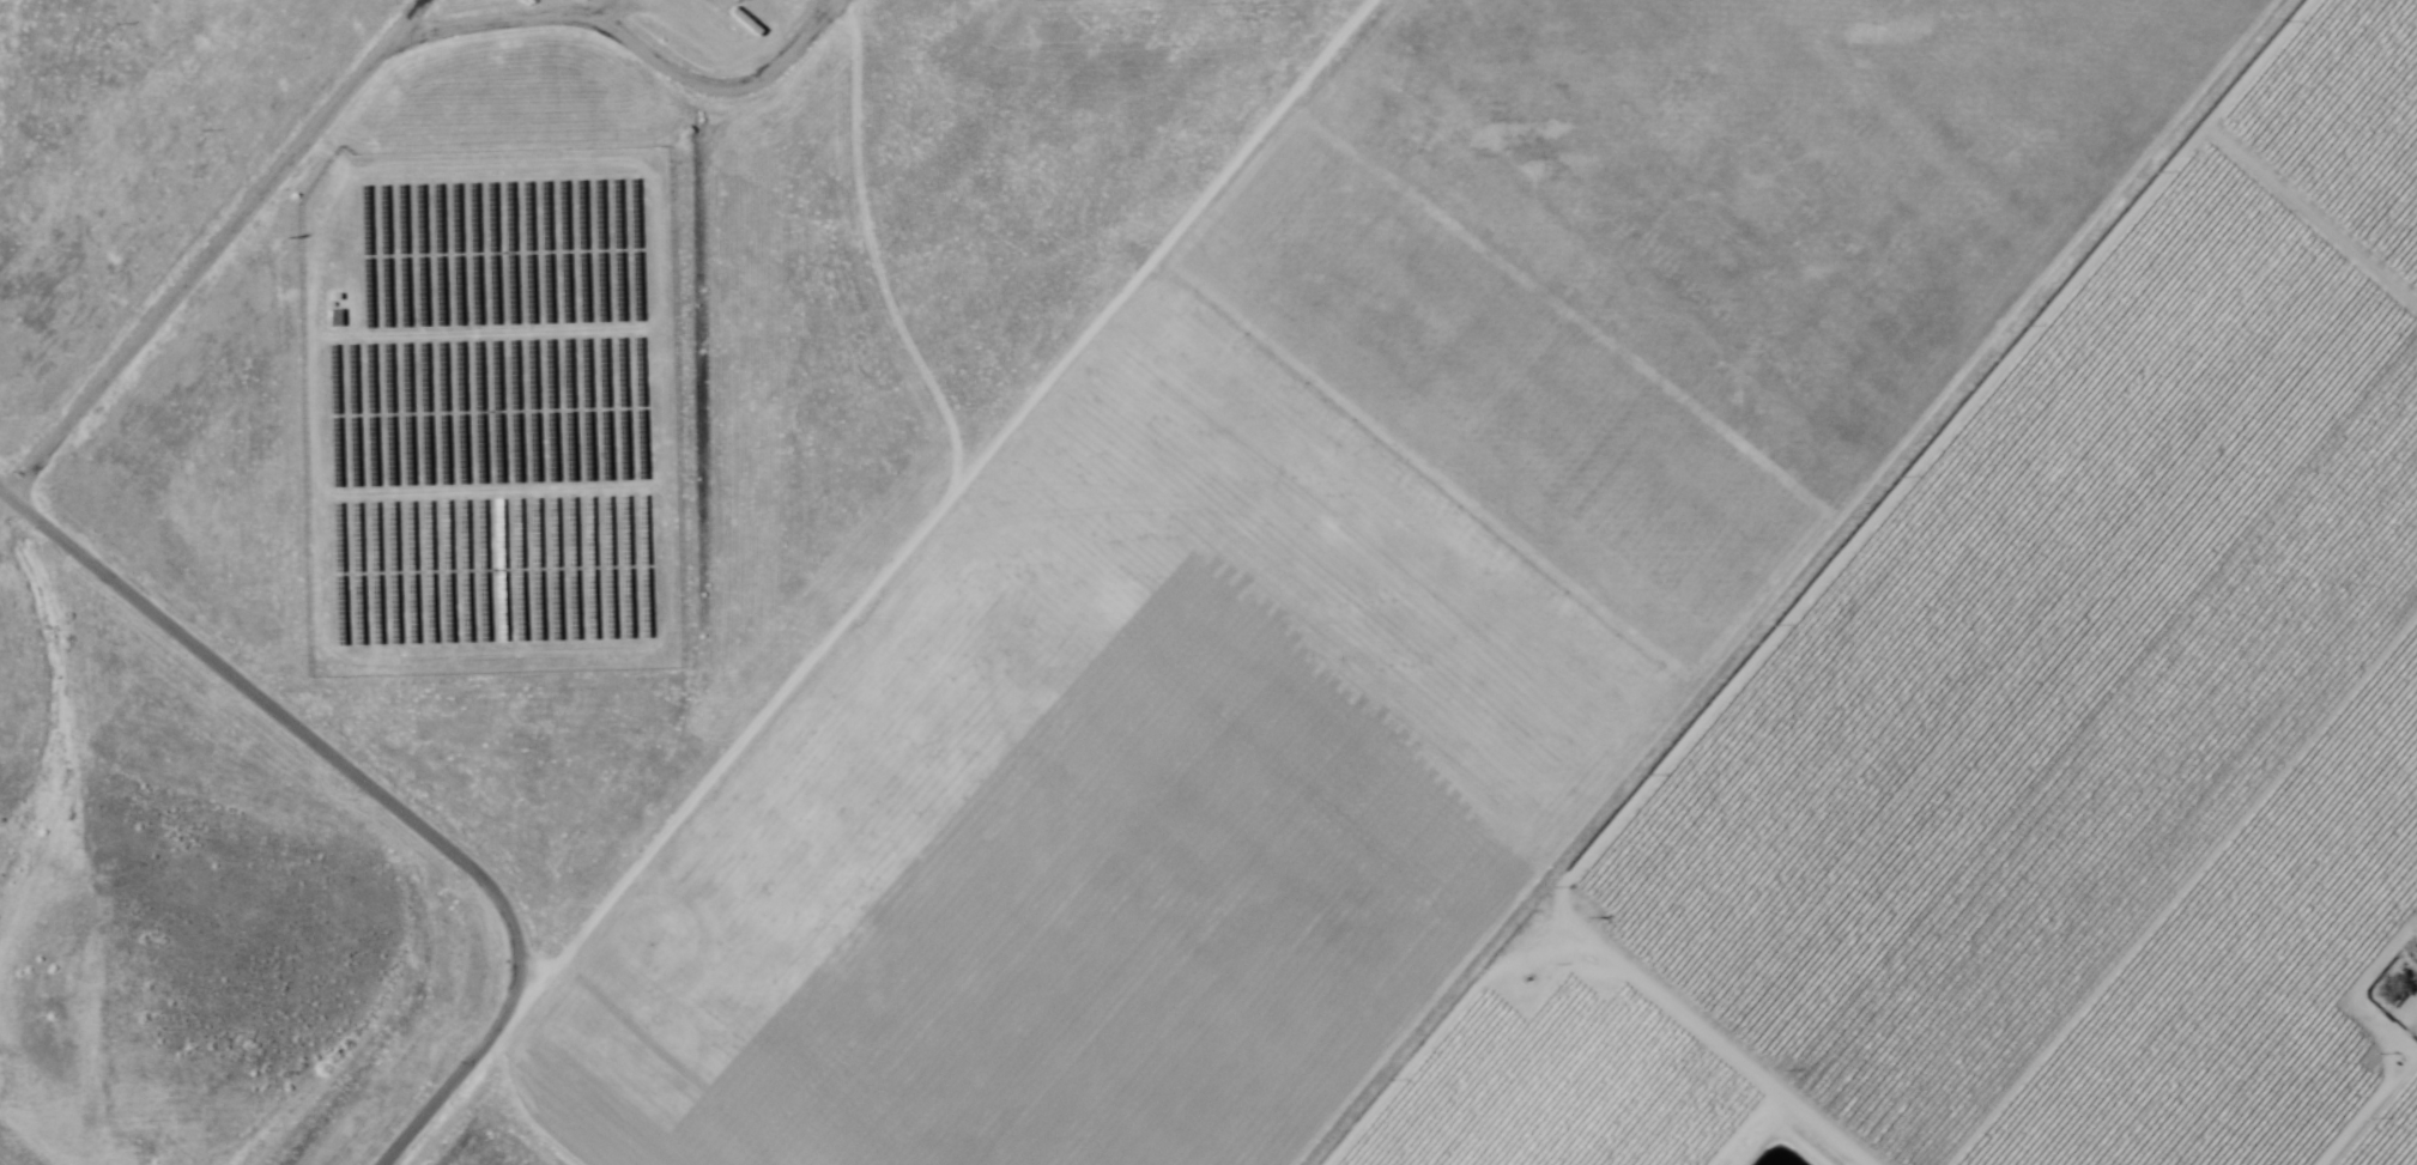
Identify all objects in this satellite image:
building: (740, 0)
road: (2312, 212)
road: (212, 253)
road: (1927, 451)
road: (873, 582)
road: (1775, 582)
road: (307, 739)
crop: (2048, 741)
helipad: (1315, 826)
road: (2182, 887)
road: (2351, 993)
road: (1437, 1034)
road: (1709, 1034)
road: (2369, 1111)
road: (1758, 1130)

